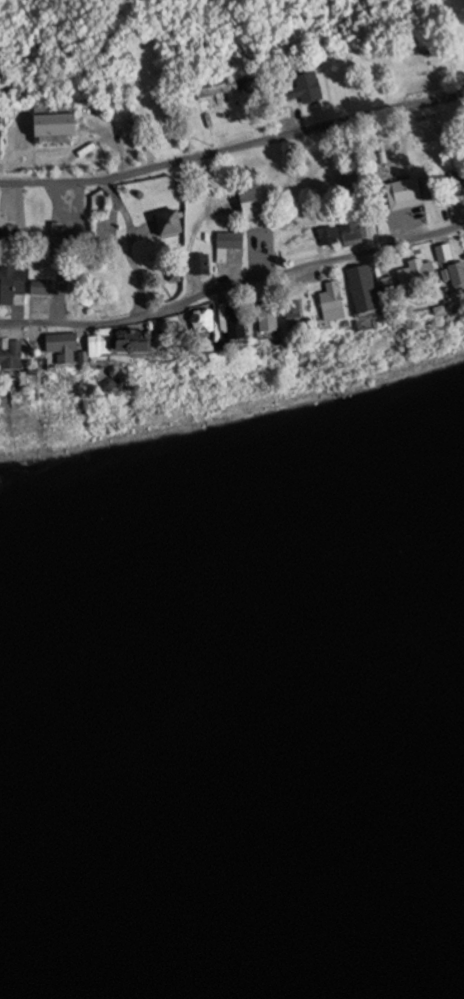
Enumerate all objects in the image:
building: (304, 89)
road: (293, 119)
building: (56, 123)
road: (113, 138)
road: (233, 148)
road: (77, 149)
building: (458, 182)
building: (354, 184)
road: (64, 196)
road: (207, 200)
road: (463, 201)
building: (254, 204)
road: (13, 210)
road: (418, 218)
building: (170, 225)
building: (353, 231)
building: (307, 232)
road: (129, 239)
building: (266, 244)
building: (229, 246)
road: (319, 249)
road: (254, 262)
building: (202, 266)
road: (312, 270)
road: (222, 277)
building: (459, 279)
building: (421, 280)
building: (12, 285)
road: (234, 285)
road: (263, 285)
building: (42, 290)
road: (61, 293)
building: (367, 293)
building: (336, 305)
road: (16, 311)
building: (272, 320)
road: (8, 324)
building: (299, 325)
building: (238, 327)
road: (35, 329)
road: (82, 329)
building: (157, 334)
building: (66, 350)
building: (13, 359)

